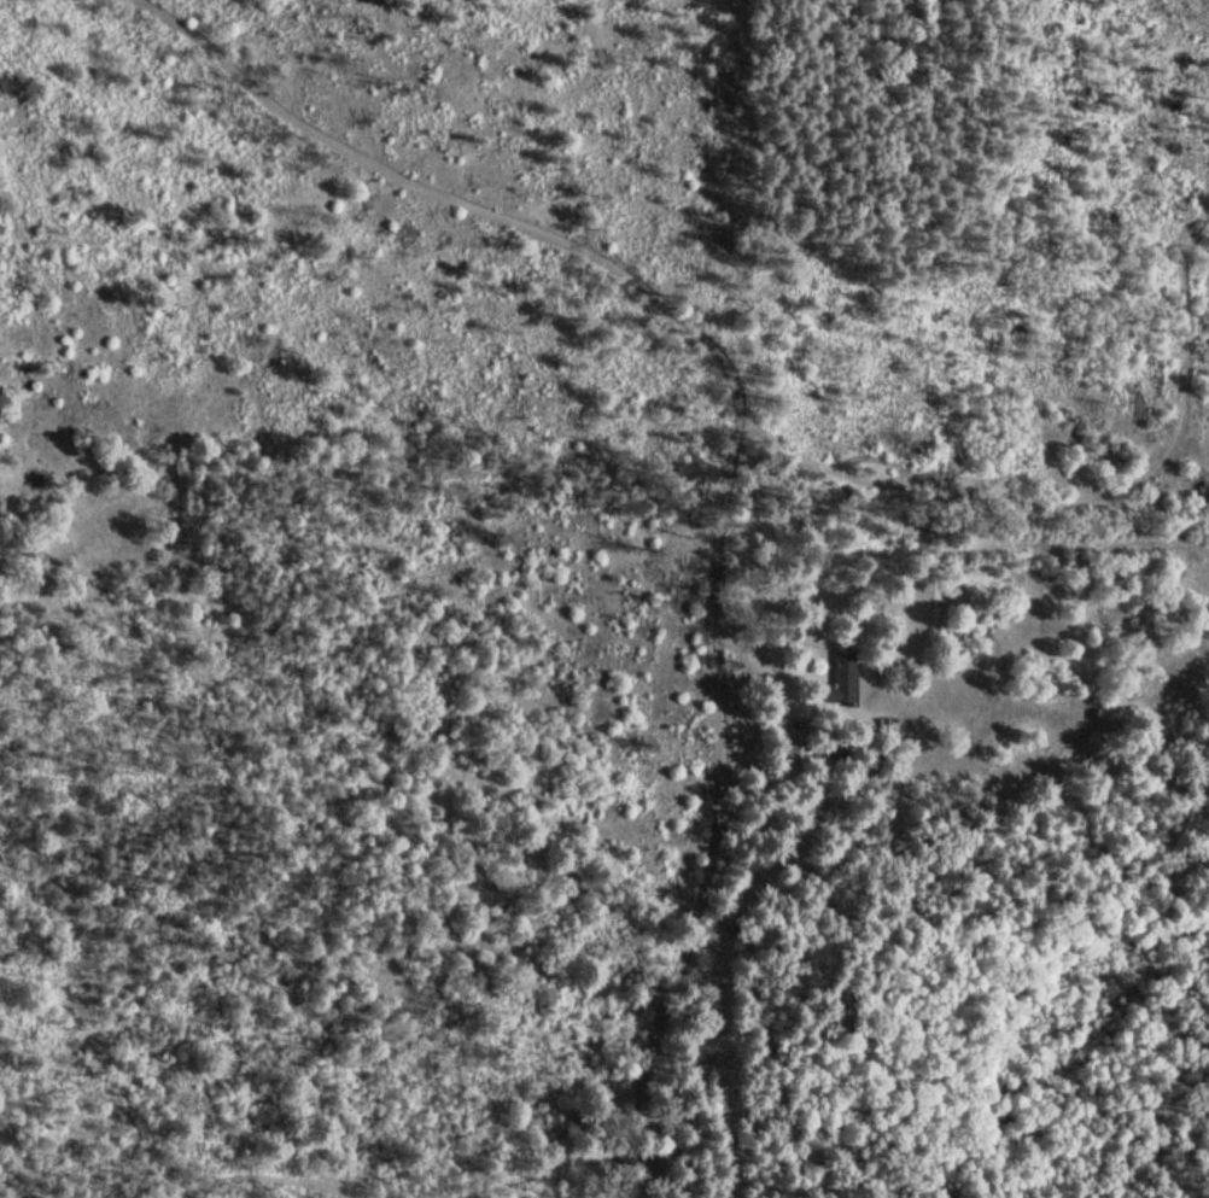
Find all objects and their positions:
road: (720, 448)
building: (839, 678)
building: (789, 753)
road: (615, 1165)
road: (398, 1186)

